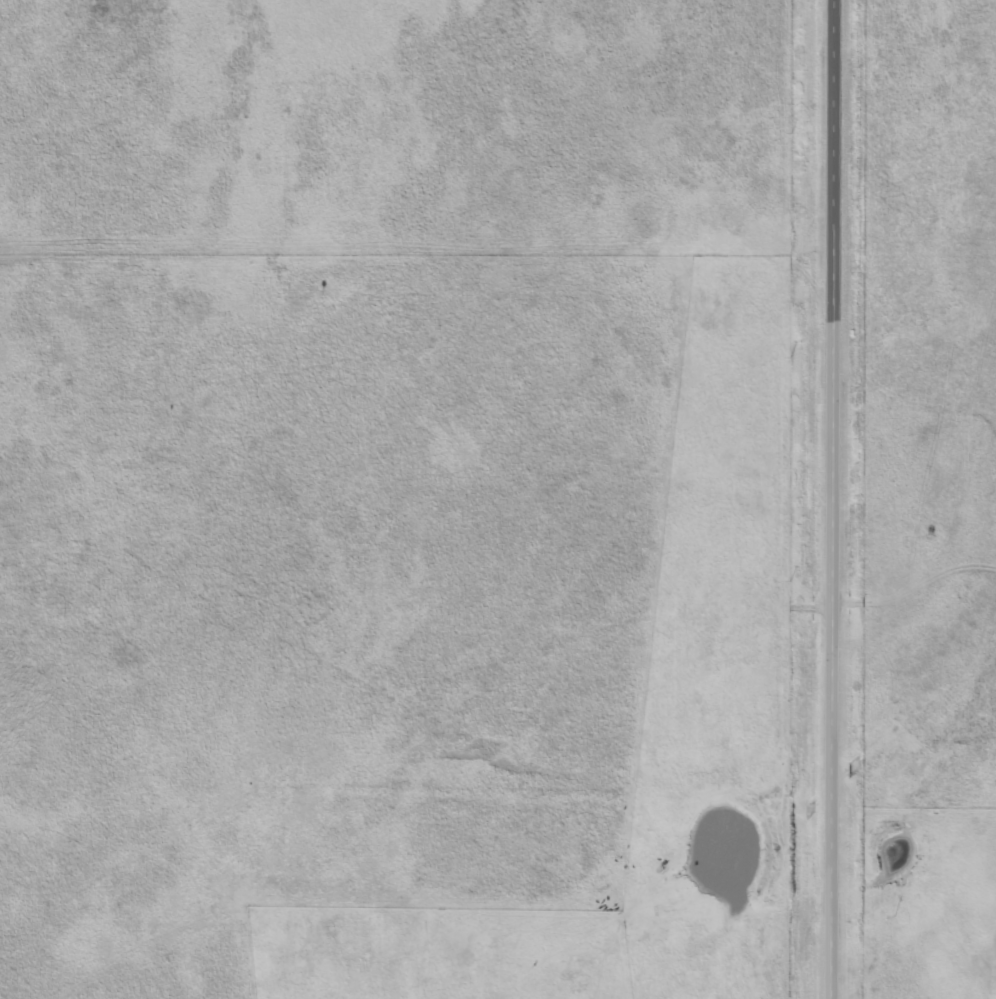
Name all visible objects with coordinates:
road: (832, 499)
road: (915, 593)

